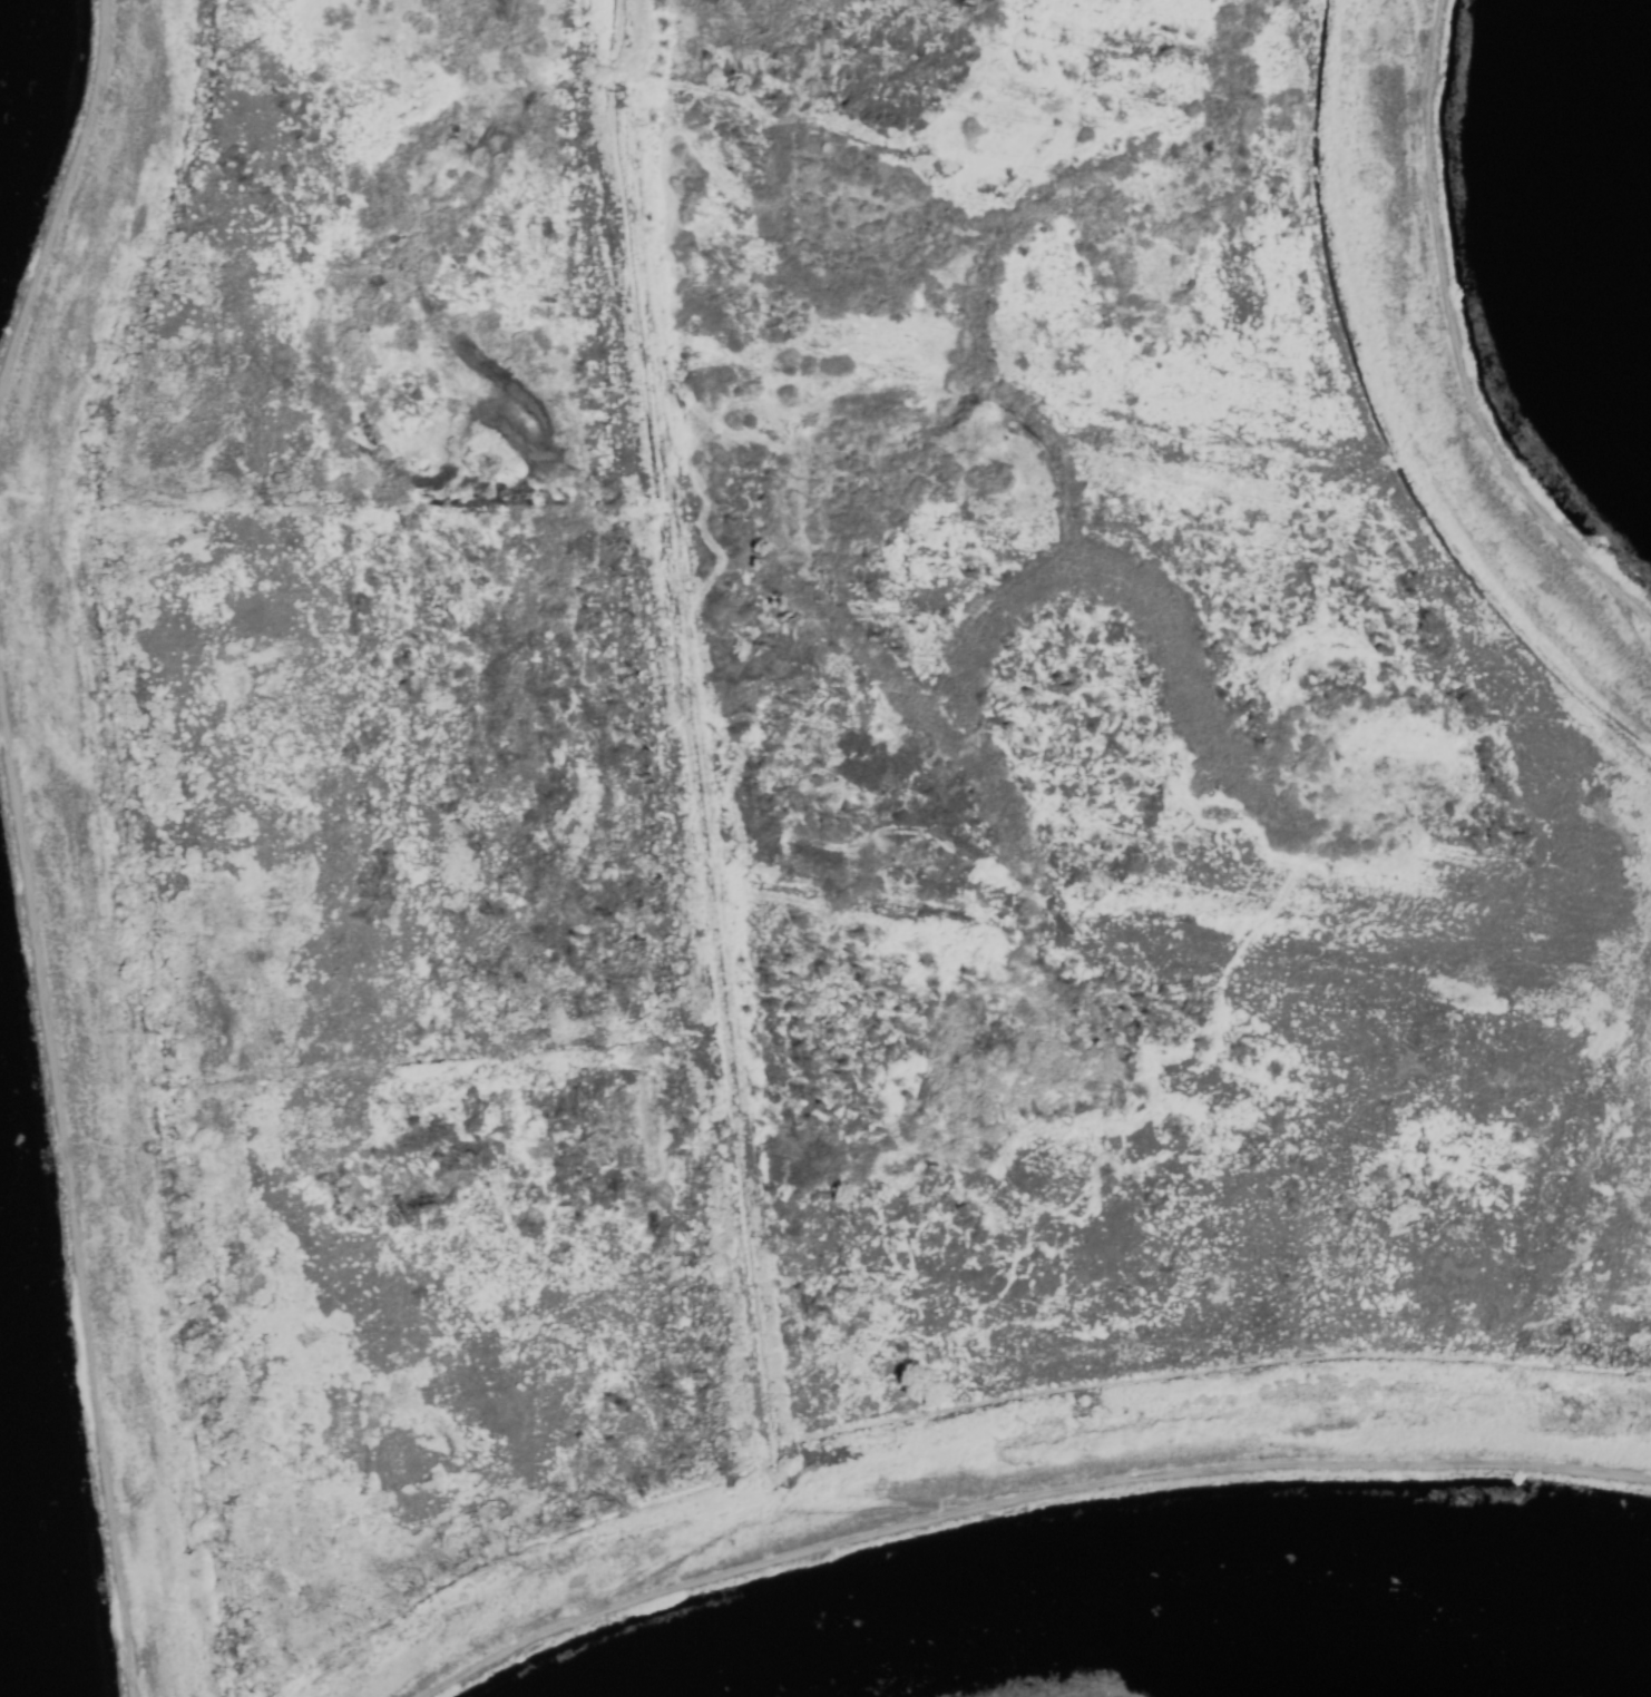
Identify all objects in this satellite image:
river: (1600, 155)
crop: (781, 756)
river: (1344, 1674)

